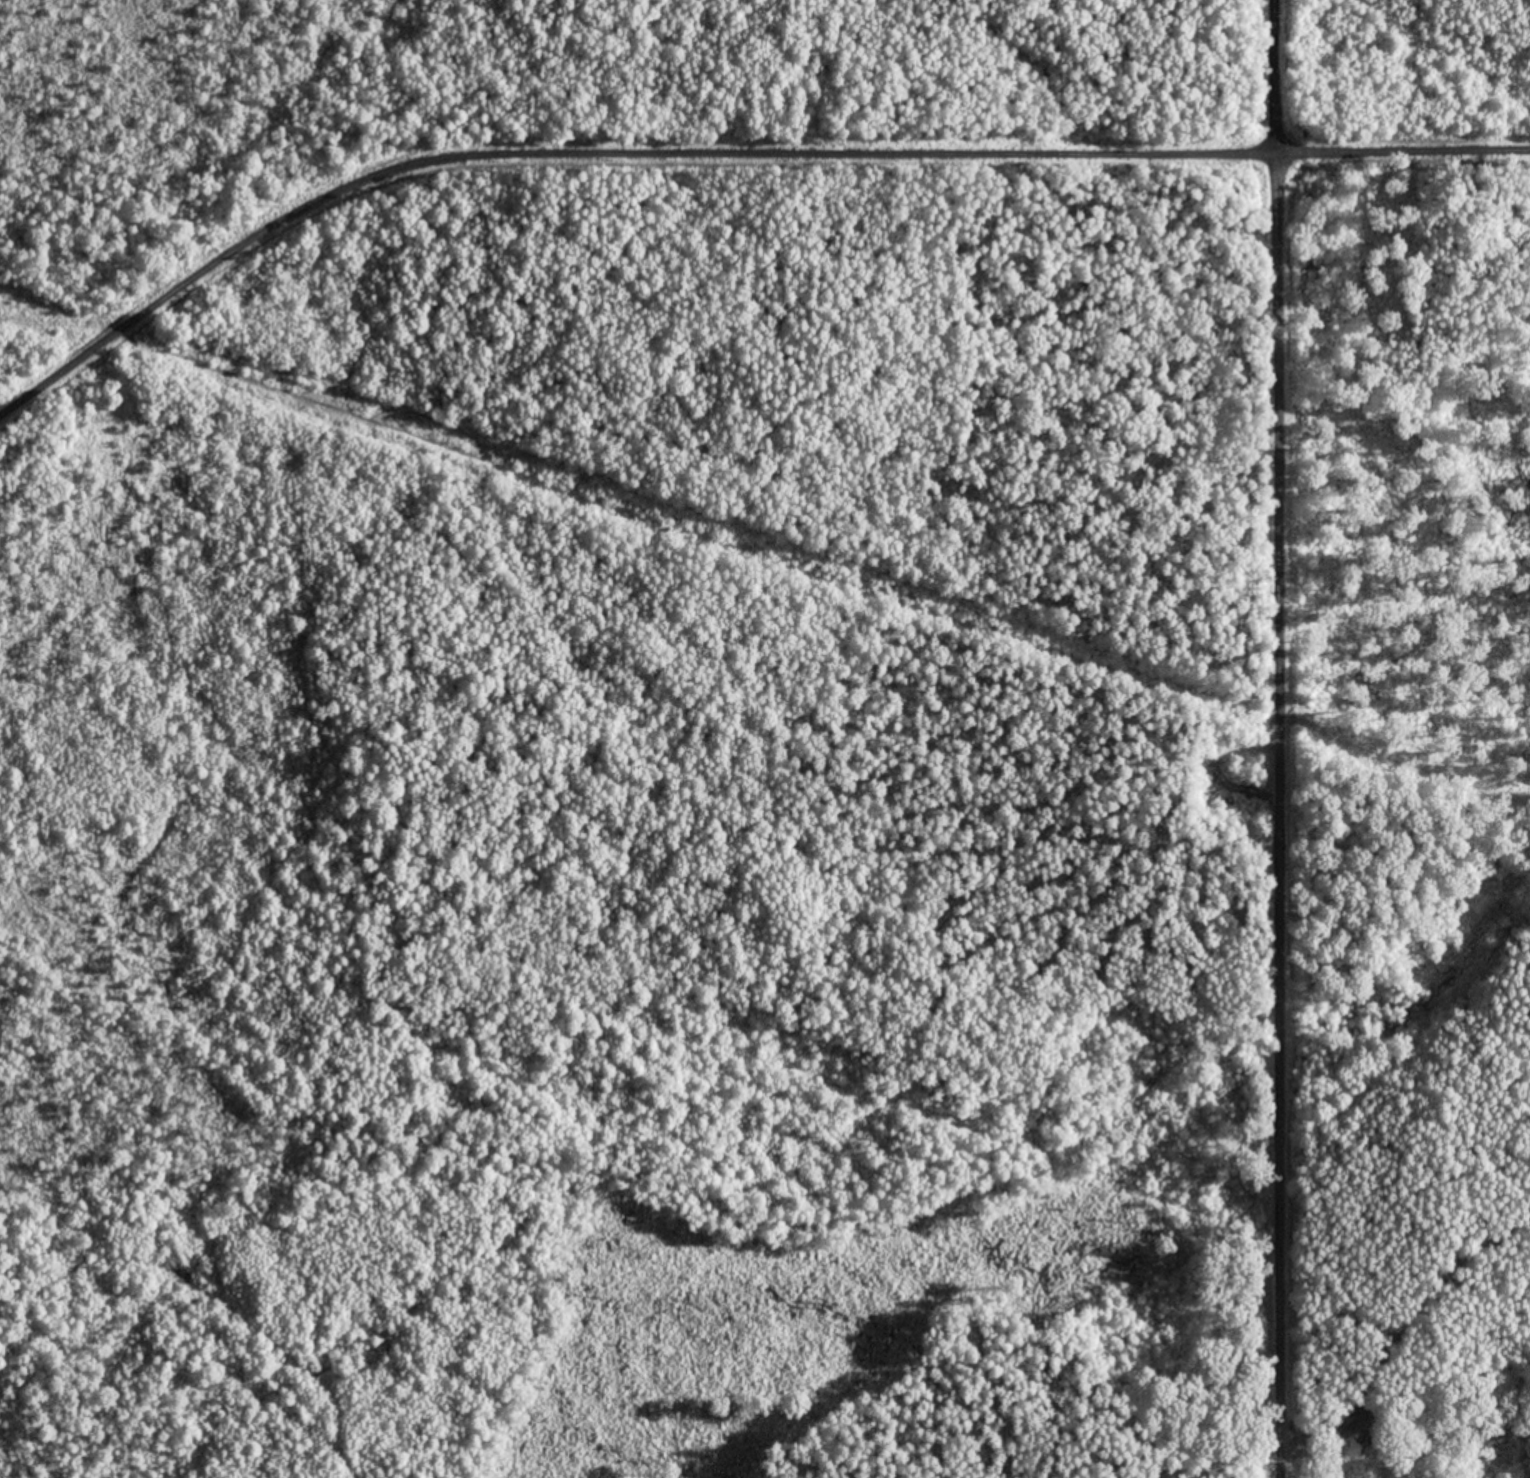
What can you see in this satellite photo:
road: (727, 156)
road: (1277, 739)

